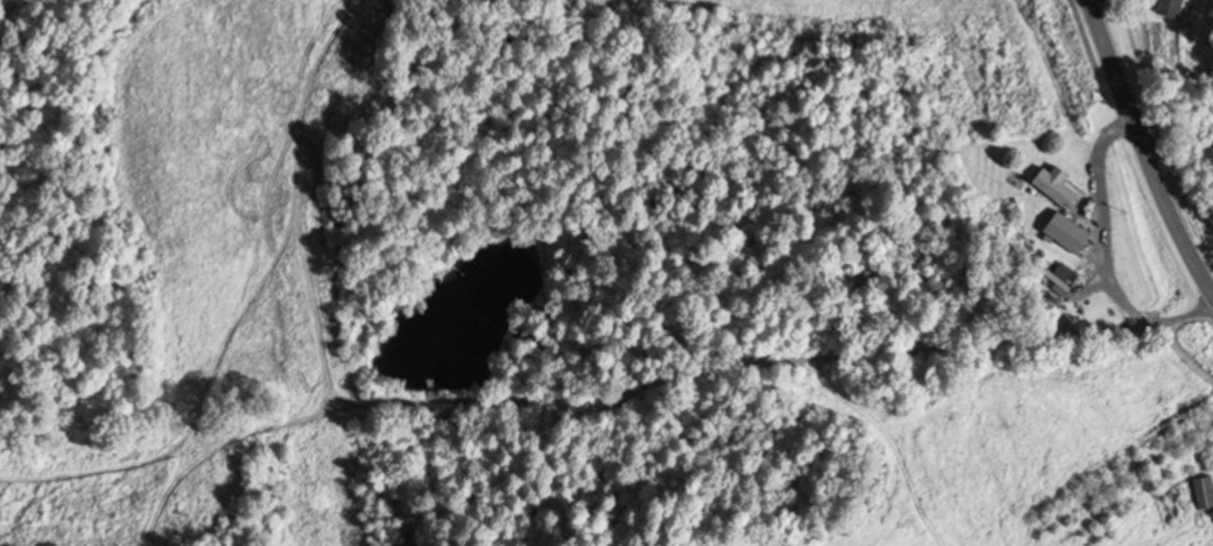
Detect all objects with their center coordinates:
building: (1174, 7)
road: (1144, 151)
building: (1059, 189)
building: (1072, 234)
road: (1107, 363)
road: (1059, 404)
road: (742, 422)
building: (1205, 492)

